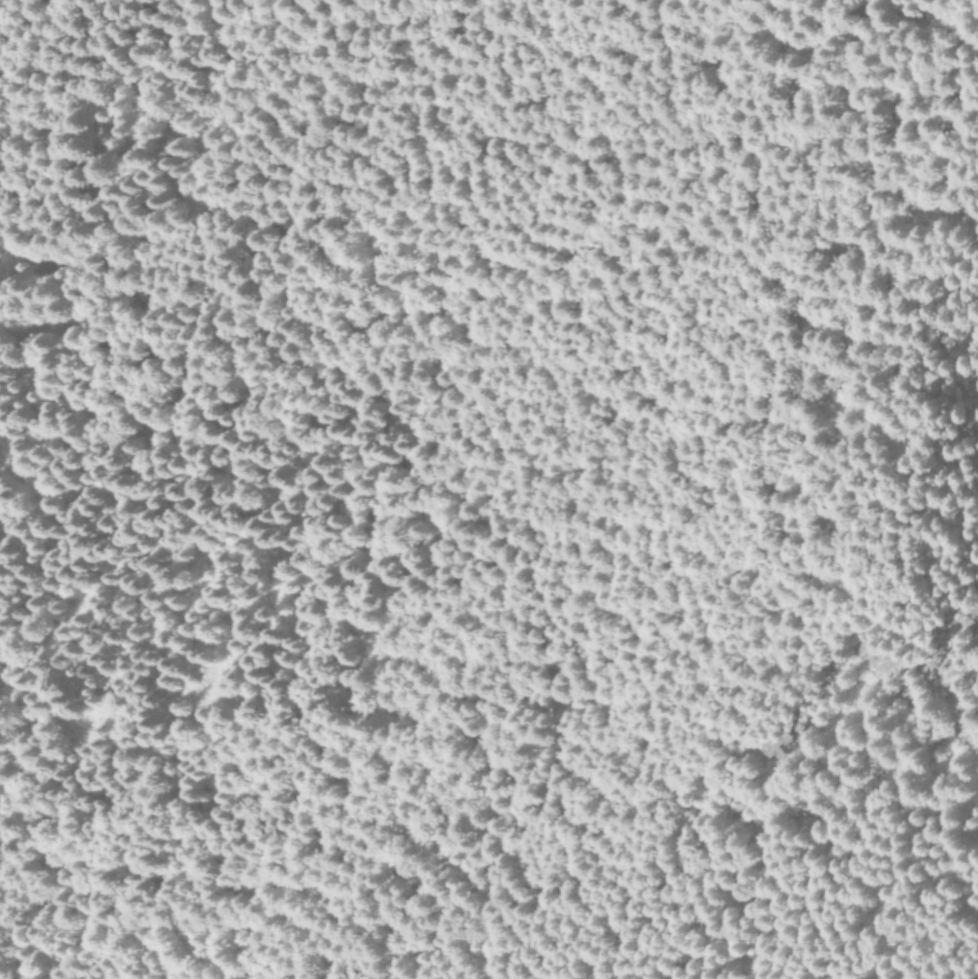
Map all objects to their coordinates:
road: (961, 7)

